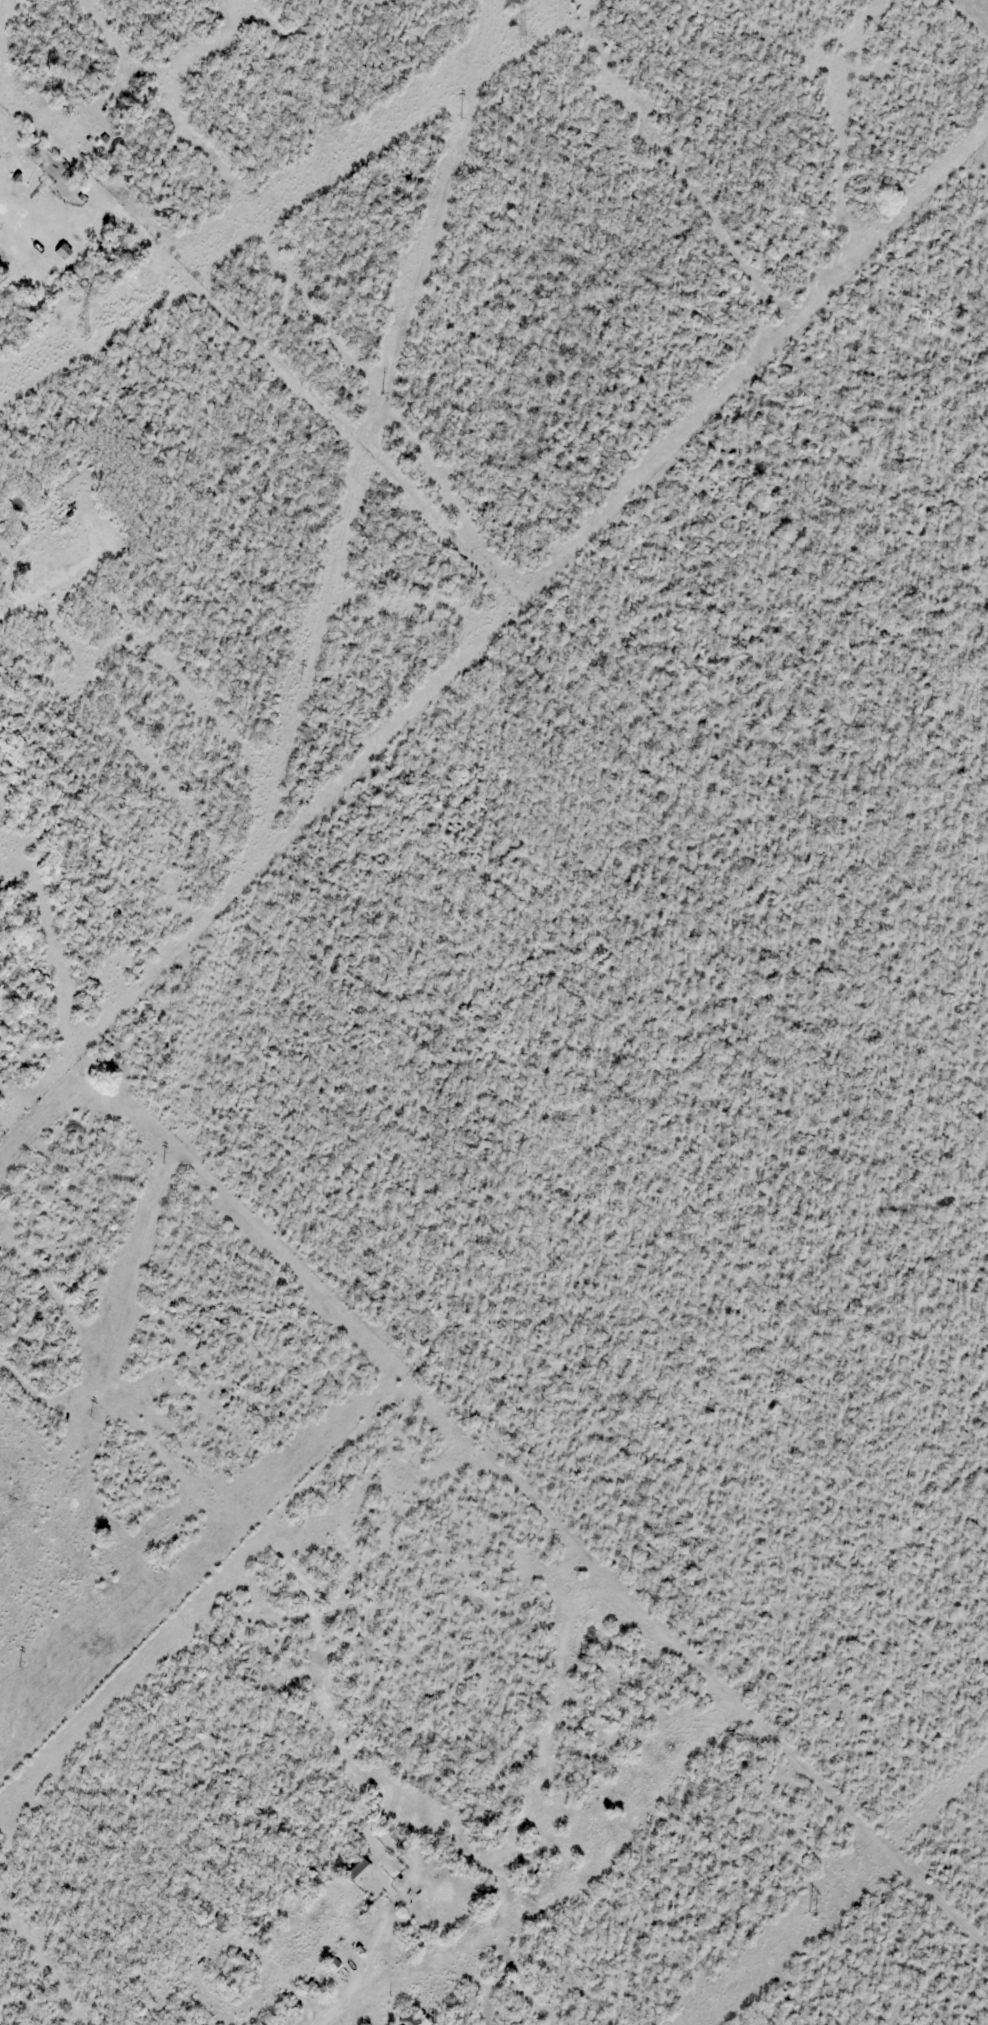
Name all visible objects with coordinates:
power tower: (515, 38)
building: (2, 154)
building: (63, 251)
power tower: (80, 331)
road: (72, 577)
building: (359, 1870)
power tower: (811, 1915)
road: (311, 2007)
building: (408, 2020)
road: (319, 2022)
road: (324, 2022)

